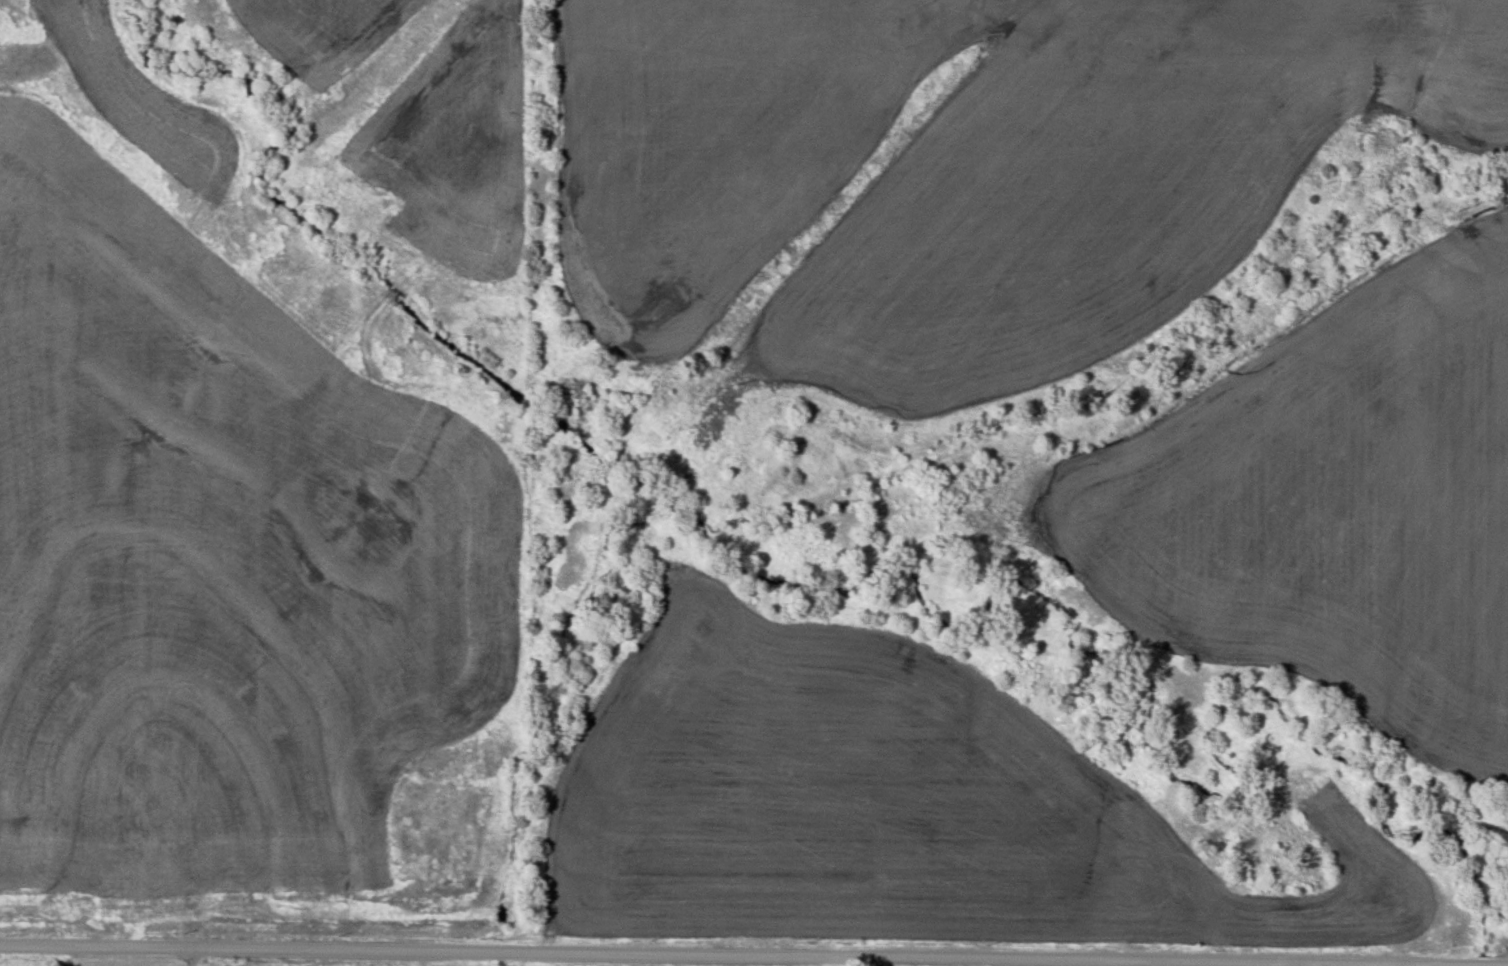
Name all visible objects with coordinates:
crop: (708, 148)
crop: (1094, 193)
crop: (1314, 505)
road: (728, 954)
road: (191, 956)

